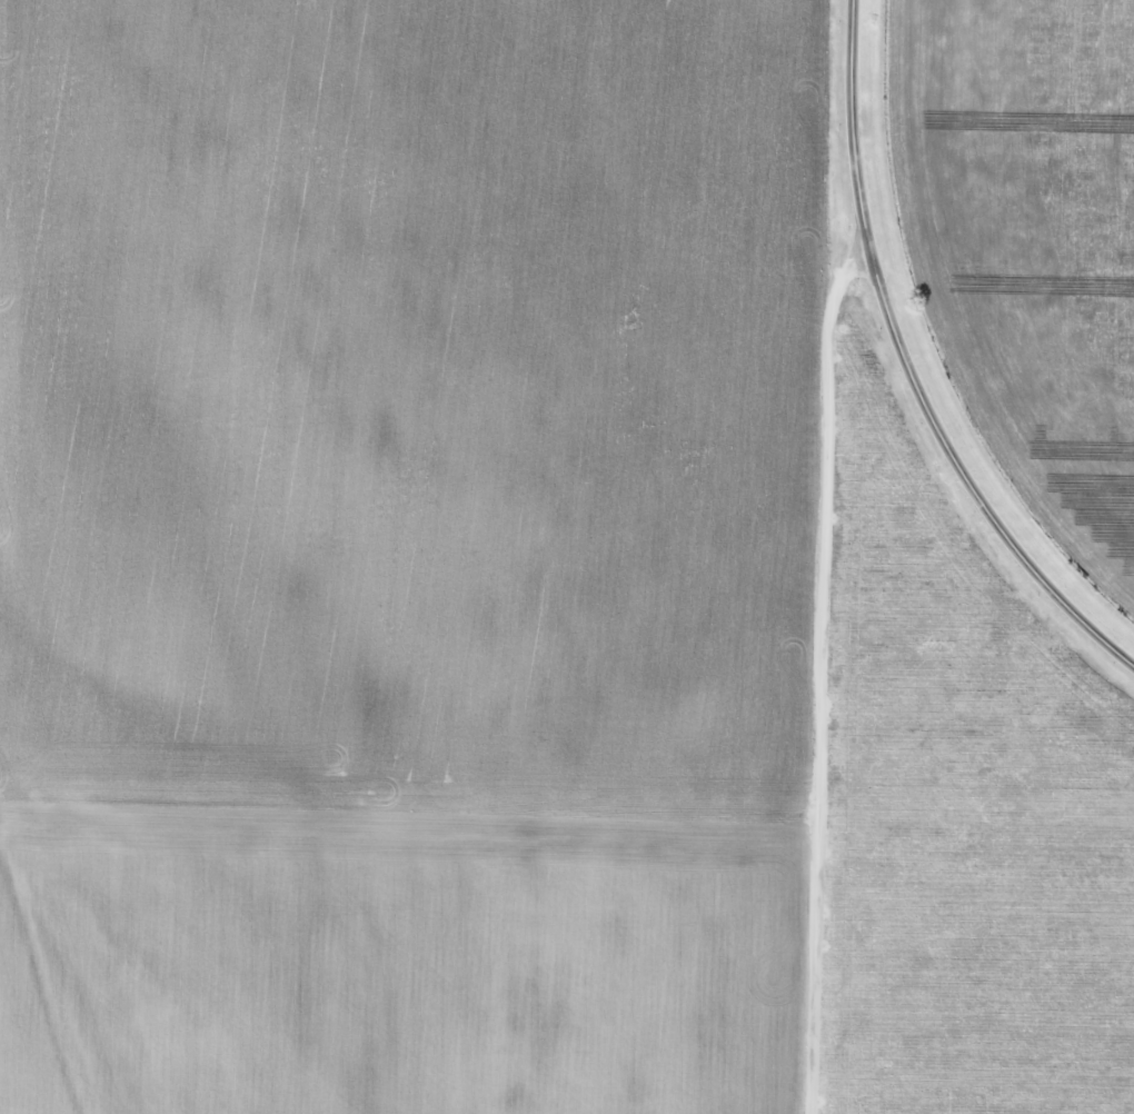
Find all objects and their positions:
road: (908, 370)
road: (830, 677)

